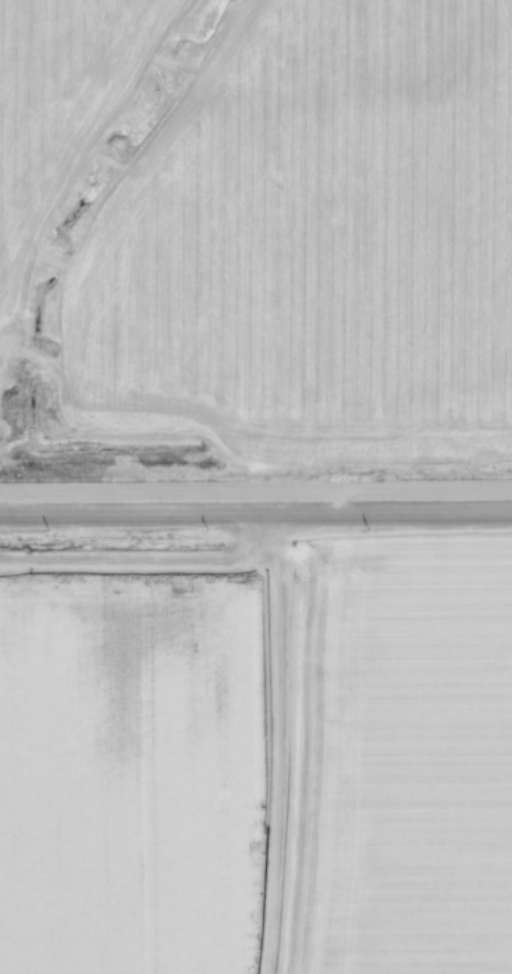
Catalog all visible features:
road: (255, 514)
road: (139, 560)
road: (278, 744)

